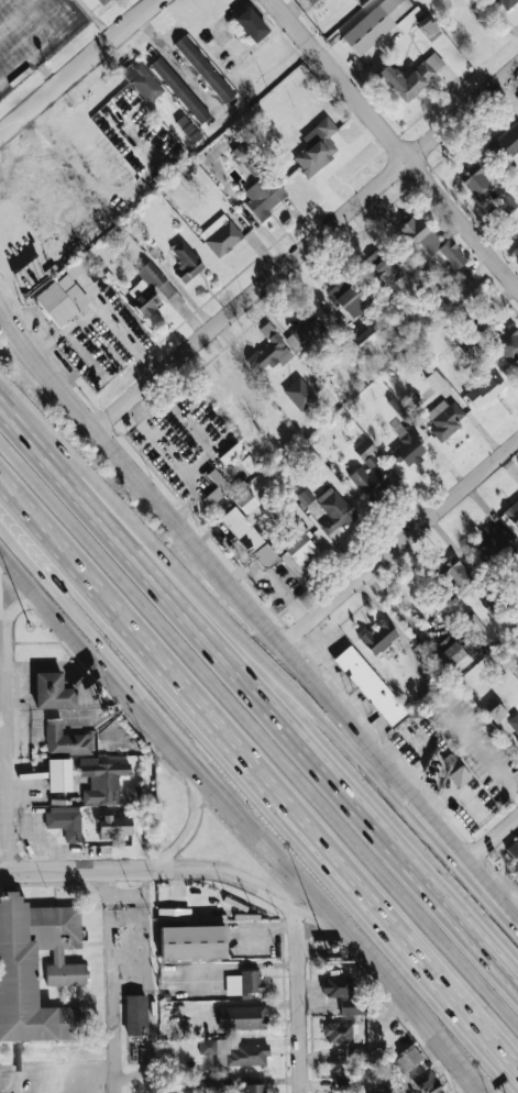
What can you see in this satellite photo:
building: (101, 1)
building: (311, 1)
building: (506, 3)
building: (379, 23)
building: (251, 24)
building: (428, 27)
road: (37, 33)
road: (176, 62)
road: (78, 67)
building: (203, 69)
building: (410, 76)
building: (142, 80)
building: (179, 90)
building: (187, 128)
road: (395, 143)
building: (317, 147)
building: (246, 159)
building: (476, 183)
building: (263, 196)
building: (507, 203)
building: (419, 234)
building: (221, 235)
road: (307, 247)
building: (452, 254)
building: (517, 254)
building: (186, 262)
building: (382, 265)
building: (152, 290)
building: (63, 296)
building: (346, 298)
road: (101, 310)
building: (482, 312)
building: (304, 332)
building: (366, 336)
building: (464, 341)
building: (269, 352)
building: (485, 390)
building: (299, 395)
building: (398, 407)
building: (444, 418)
road: (99, 432)
building: (407, 446)
building: (364, 449)
road: (177, 457)
building: (368, 481)
building: (216, 487)
building: (305, 497)
building: (244, 501)
building: (333, 510)
building: (244, 538)
building: (488, 543)
building: (301, 544)
road: (400, 544)
road: (29, 568)
building: (455, 574)
road: (25, 604)
building: (492, 606)
building: (378, 637)
road: (260, 648)
building: (449, 655)
building: (371, 686)
building: (53, 692)
road: (258, 706)
building: (494, 710)
road: (362, 733)
road: (258, 737)
building: (65, 739)
road: (7, 747)
road: (481, 751)
building: (59, 775)
building: (459, 776)
building: (101, 780)
road: (256, 783)
building: (132, 793)
road: (244, 817)
building: (65, 824)
road: (192, 826)
building: (114, 827)
road: (495, 839)
building: (517, 844)
road: (73, 870)
road: (255, 885)
road: (126, 896)
building: (174, 914)
road: (319, 941)
building: (191, 942)
building: (66, 974)
building: (244, 983)
building: (343, 995)
road: (298, 1000)
building: (135, 1015)
building: (242, 1017)
building: (338, 1033)
building: (234, 1052)
building: (408, 1059)
road: (57, 1072)
road: (130, 1077)
parking lot: (54, 1079)
building: (428, 1081)
road: (108, 1082)
building: (343, 1083)
building: (209, 1085)
building: (253, 1089)
building: (386, 1091)

